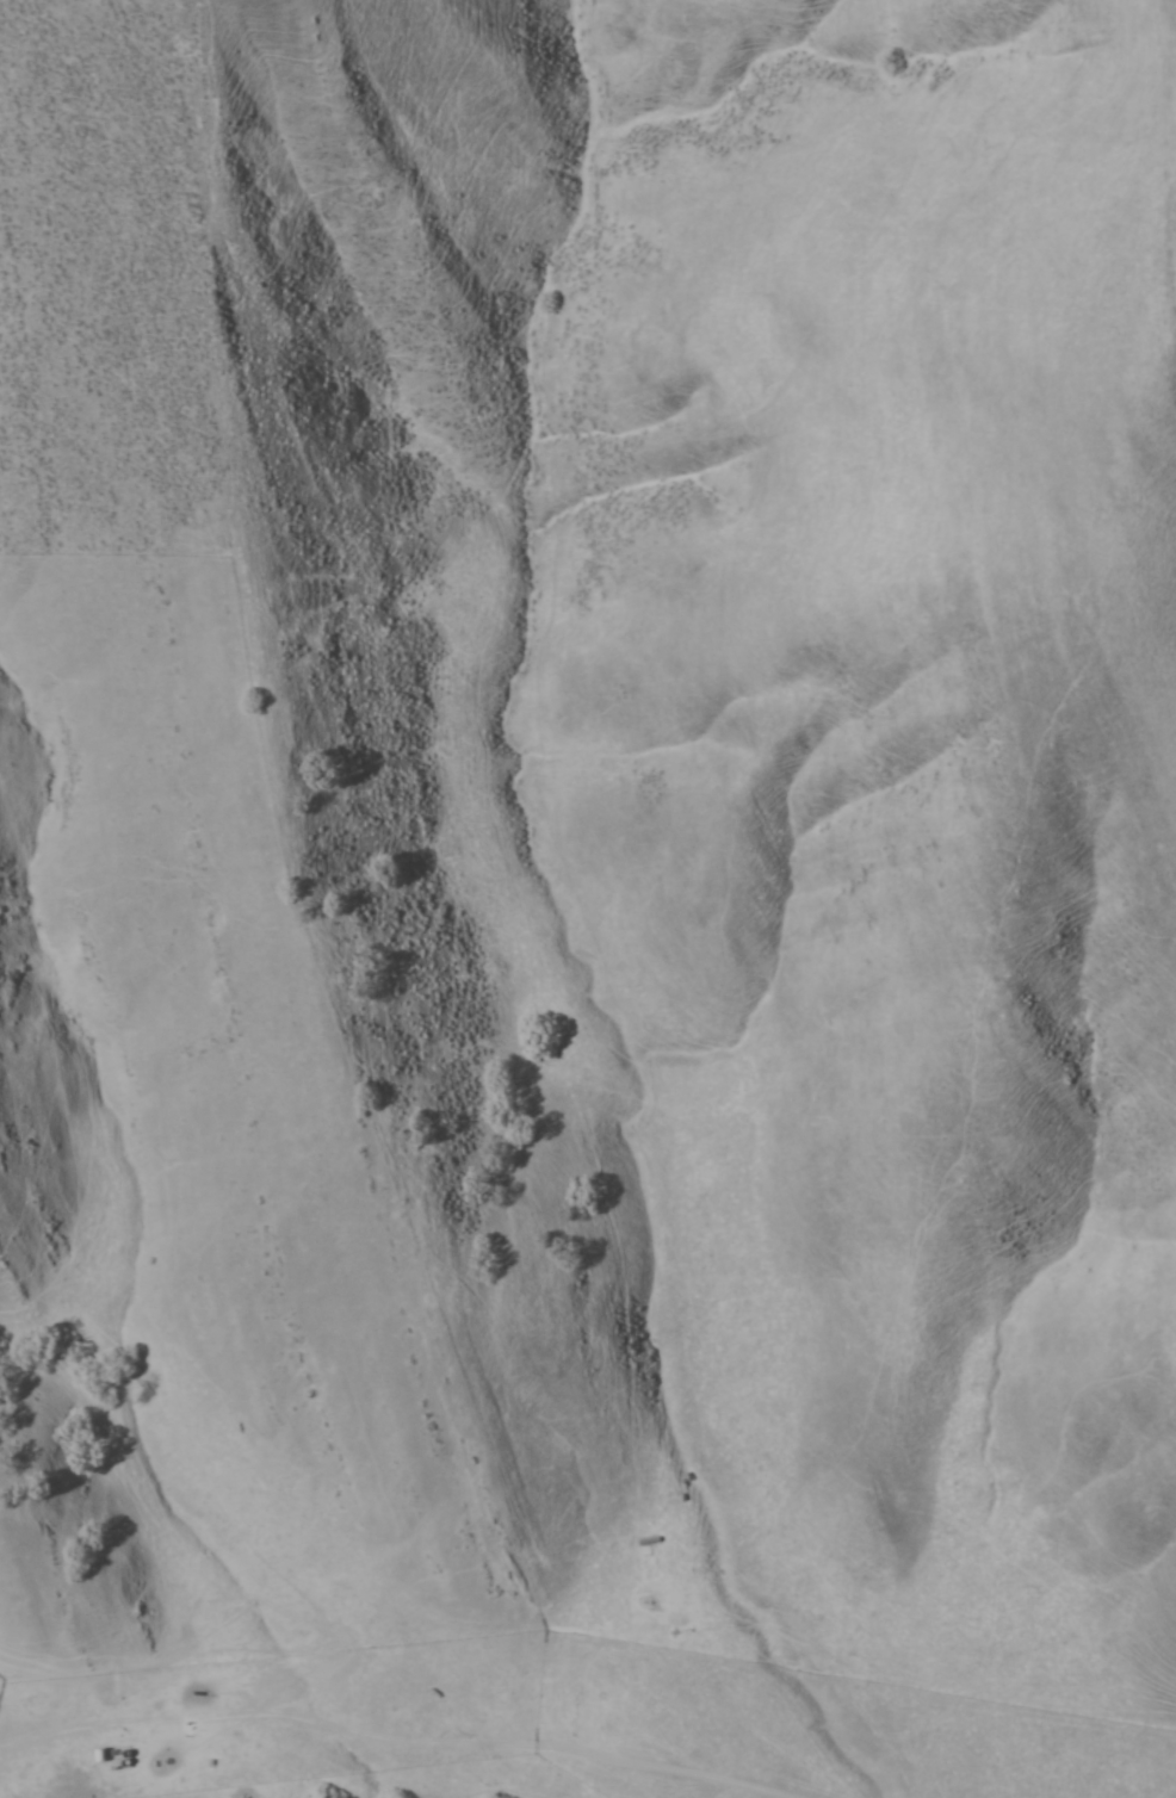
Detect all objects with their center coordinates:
road: (587, 1450)

